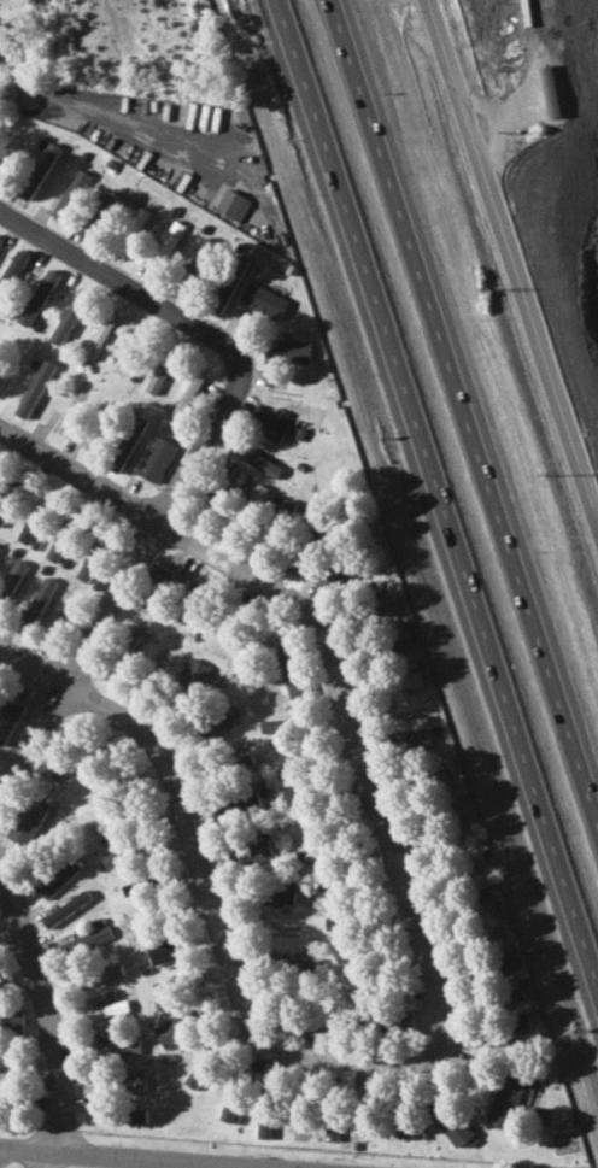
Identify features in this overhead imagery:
building: (1, 42)
road: (124, 116)
building: (39, 170)
building: (71, 193)
building: (234, 204)
building: (107, 205)
building: (131, 231)
building: (0, 239)
building: (169, 242)
building: (201, 259)
road: (509, 271)
building: (11, 272)
road: (124, 283)
building: (264, 300)
building: (71, 315)
building: (99, 335)
building: (288, 351)
building: (122, 363)
building: (160, 371)
building: (35, 388)
building: (188, 394)
road: (459, 421)
building: (268, 423)
building: (128, 442)
building: (254, 458)
building: (157, 459)
road: (433, 497)
building: (2, 515)
building: (28, 529)
building: (57, 548)
building: (89, 564)
building: (295, 564)
building: (10, 581)
road: (123, 588)
building: (40, 599)
building: (383, 603)
building: (401, 645)
road: (332, 651)
building: (293, 670)
building: (192, 673)
building: (411, 680)
building: (8, 721)
building: (217, 724)
building: (274, 726)
building: (411, 743)
building: (47, 763)
road: (187, 800)
building: (27, 823)
building: (250, 853)
building: (312, 856)
building: (115, 857)
building: (55, 878)
building: (328, 888)
building: (277, 897)
building: (66, 908)
building: (84, 940)
building: (163, 950)
building: (346, 955)
building: (295, 963)
building: (112, 970)
building: (165, 990)
road: (49, 1008)
building: (100, 1010)
building: (398, 1020)
building: (11, 1021)
building: (522, 1028)
building: (174, 1031)
building: (115, 1047)
road: (356, 1060)
building: (6, 1067)
building: (197, 1073)
building: (93, 1081)
building: (135, 1082)
building: (506, 1098)
building: (228, 1111)
building: (137, 1115)
building: (94, 1116)
building: (450, 1121)
building: (403, 1125)
building: (263, 1128)
building: (330, 1128)
road: (143, 1157)
road: (37, 1158)
road: (272, 1167)

